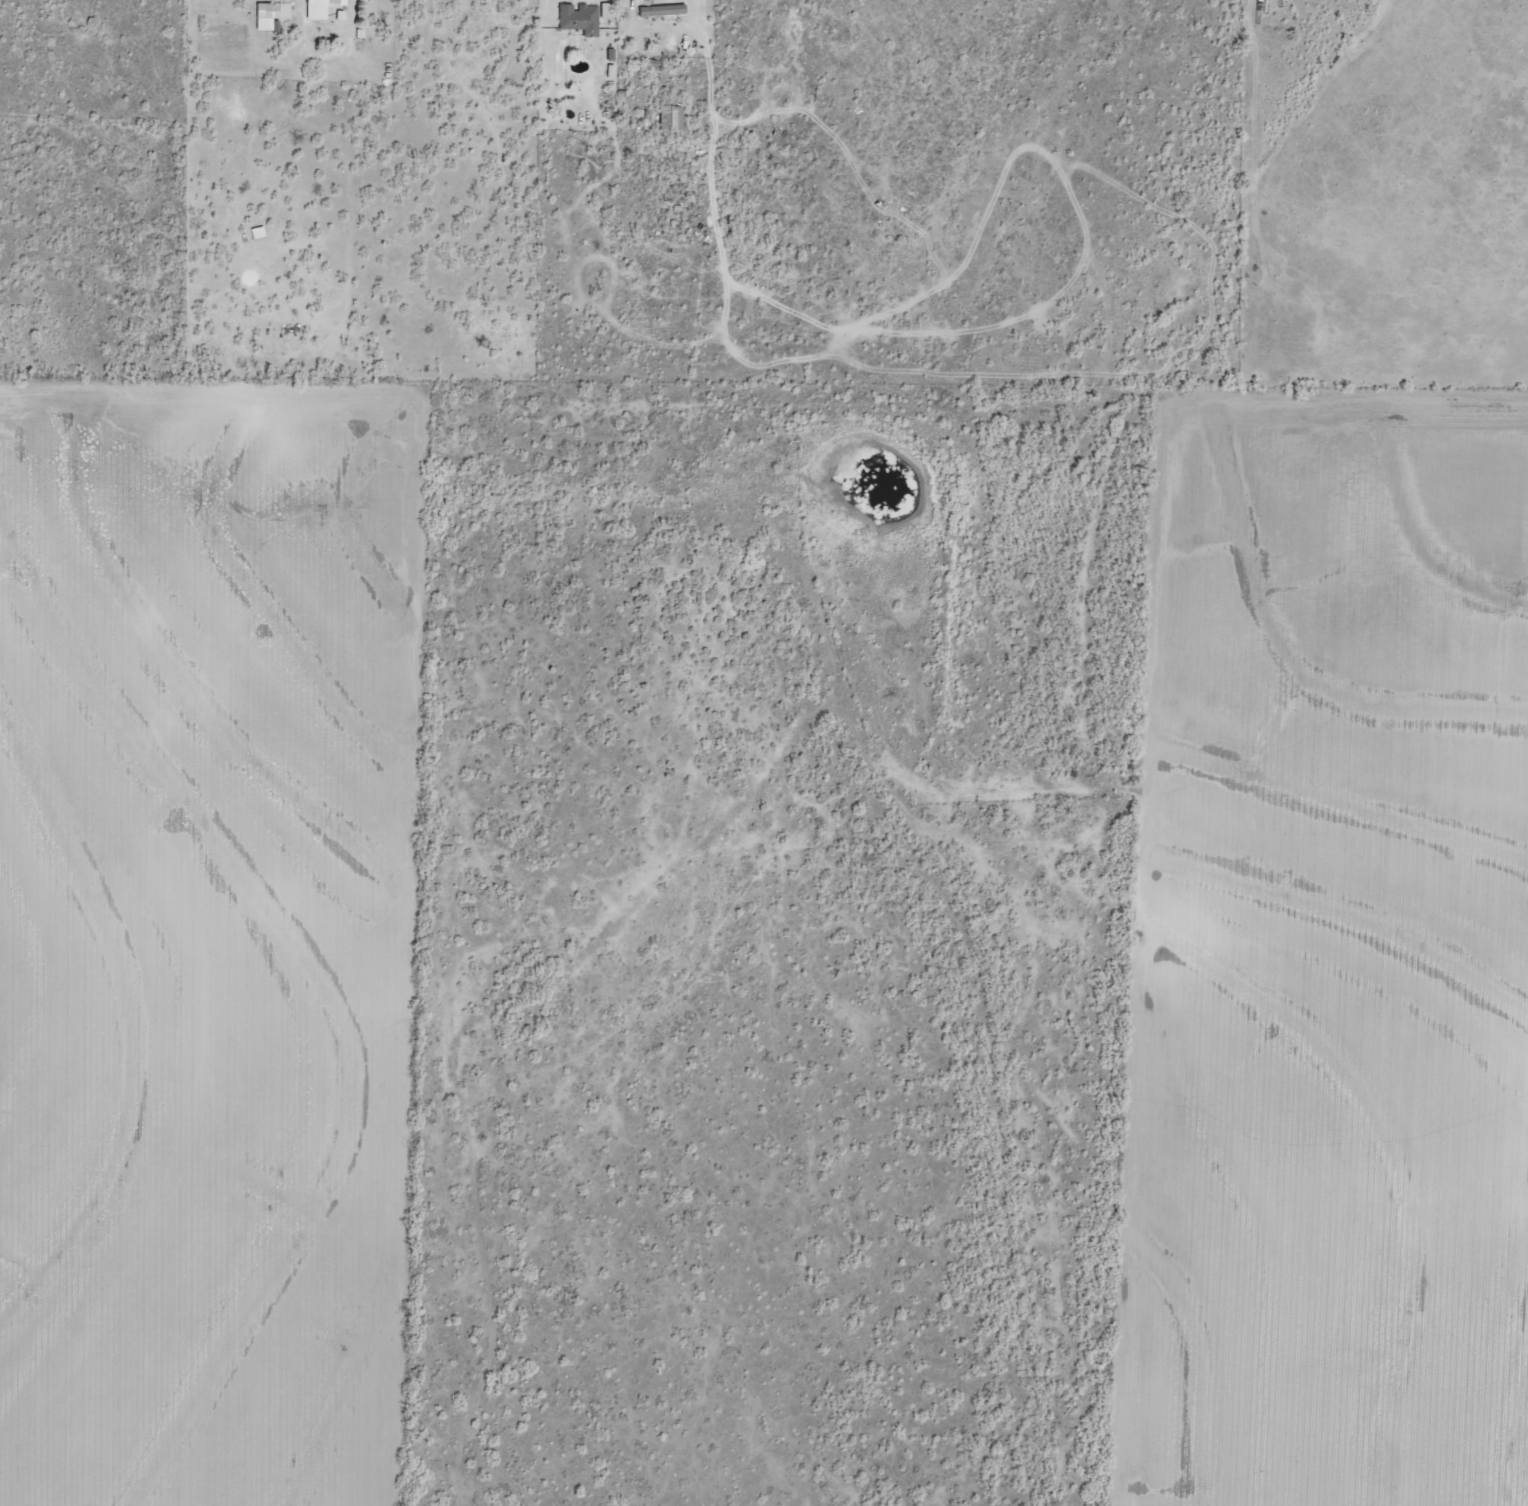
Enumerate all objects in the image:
building: (319, 8)
building: (661, 10)
building: (606, 11)
building: (271, 15)
building: (579, 18)
building: (670, 119)
building: (257, 233)

